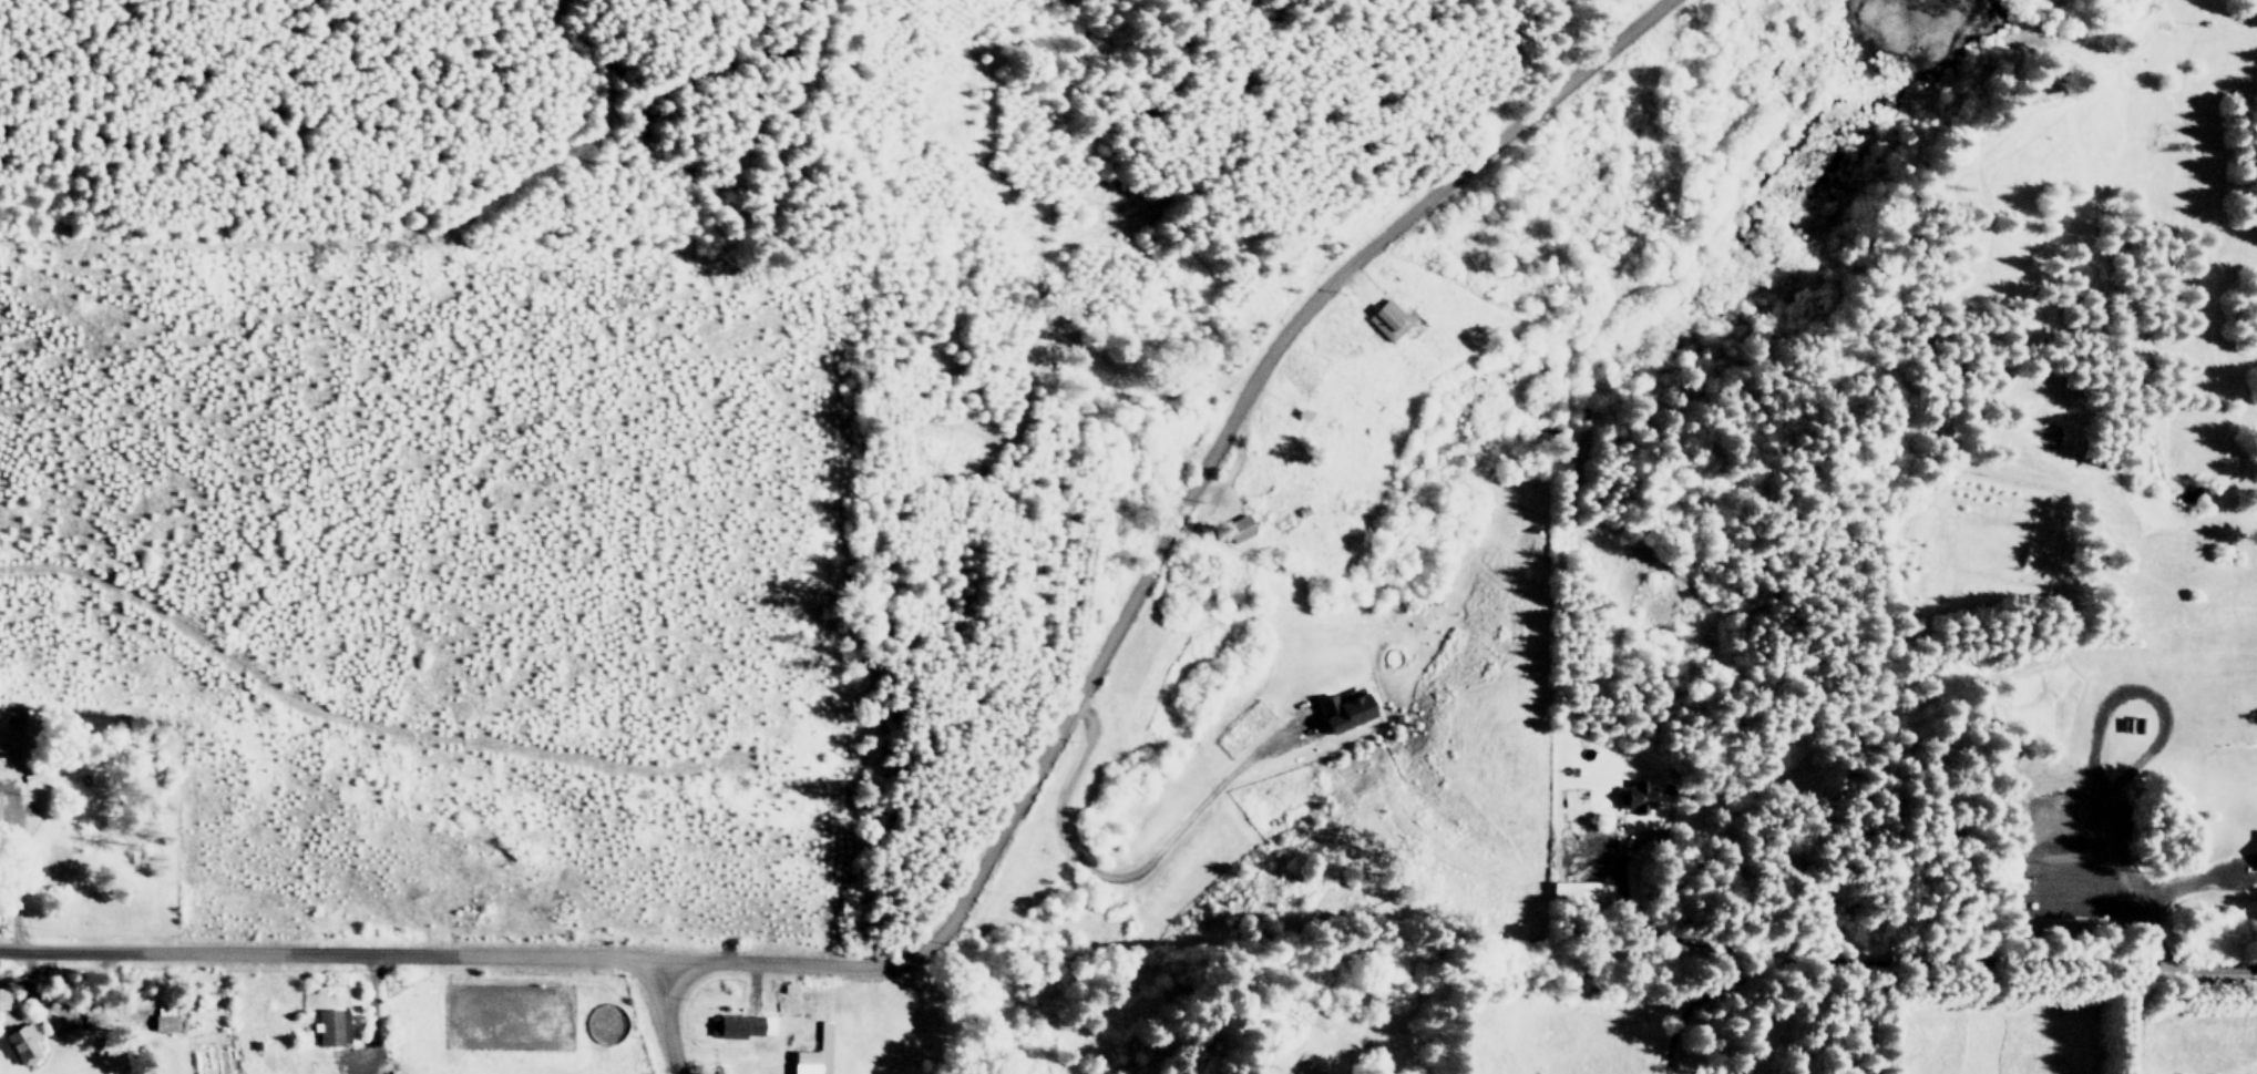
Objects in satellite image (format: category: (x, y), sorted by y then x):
building: (1389, 319)
building: (1242, 529)
road: (1162, 538)
building: (1638, 797)
road: (1128, 873)
building: (1576, 890)
road: (329, 950)
road: (1917, 973)
building: (3, 998)
road: (666, 1014)
road: (2126, 1015)
building: (164, 1019)
building: (736, 1025)
building: (332, 1026)
building: (23, 1042)
building: (814, 1054)
building: (1303, 1072)
building: (1320, 1072)

